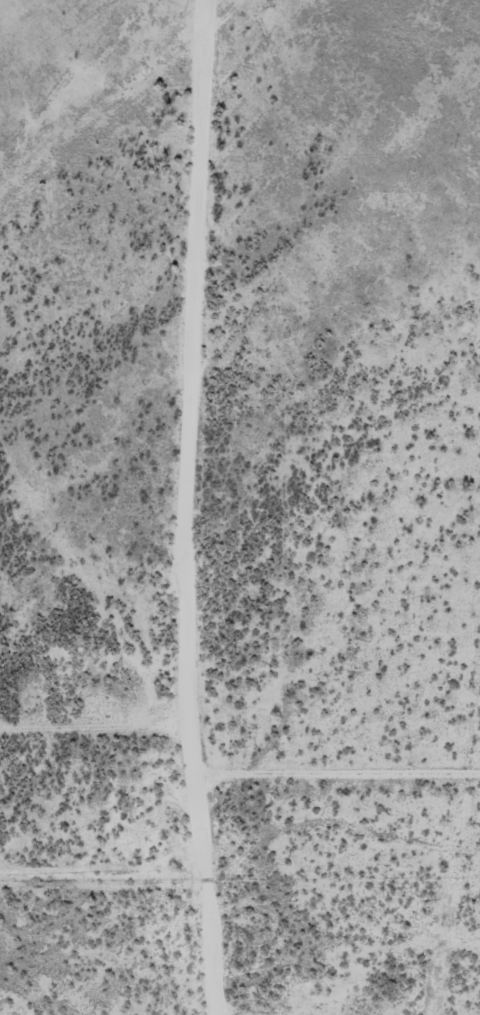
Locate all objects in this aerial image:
road: (166, 507)
road: (84, 739)

